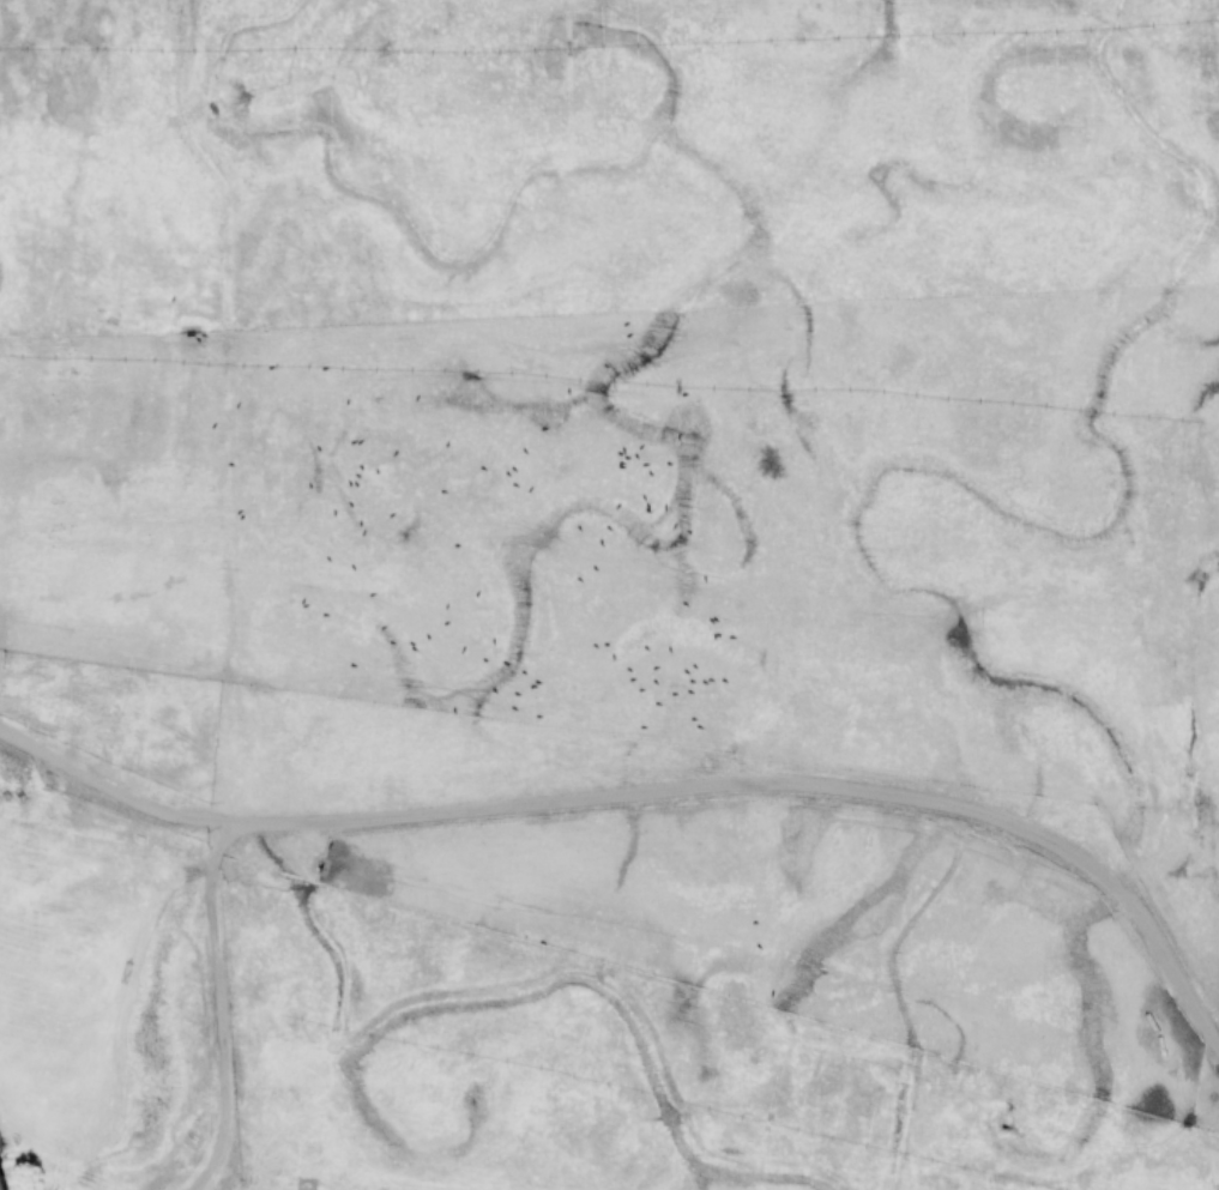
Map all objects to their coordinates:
road: (651, 813)

